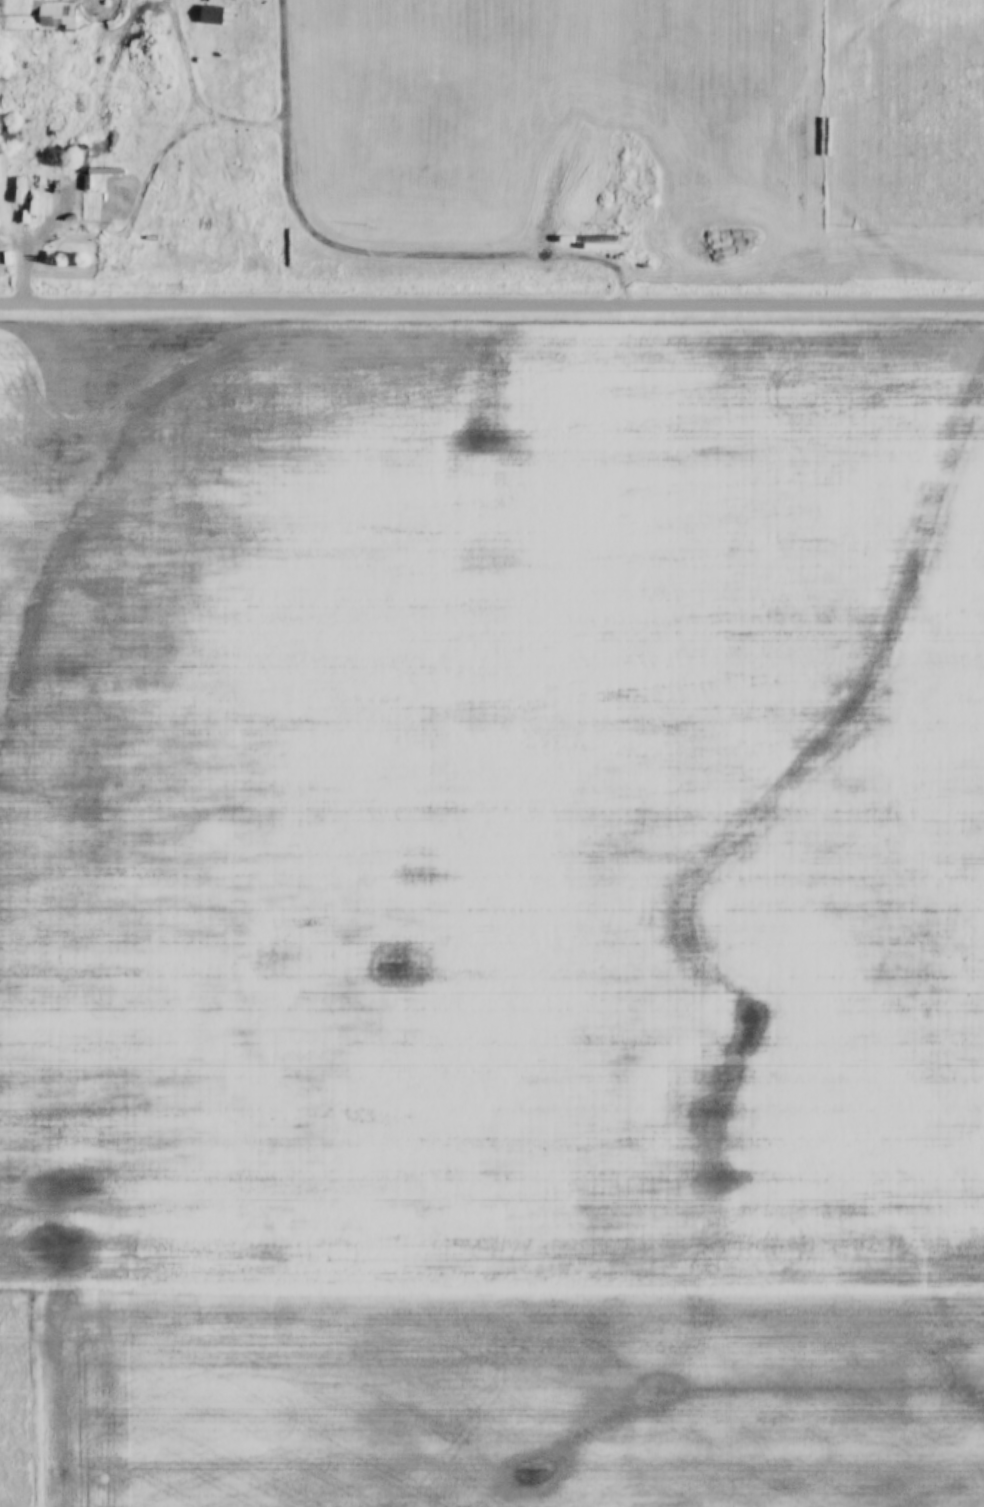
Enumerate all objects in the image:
building: (99, 72)
building: (9, 137)
building: (81, 163)
road: (25, 212)
road: (491, 305)

